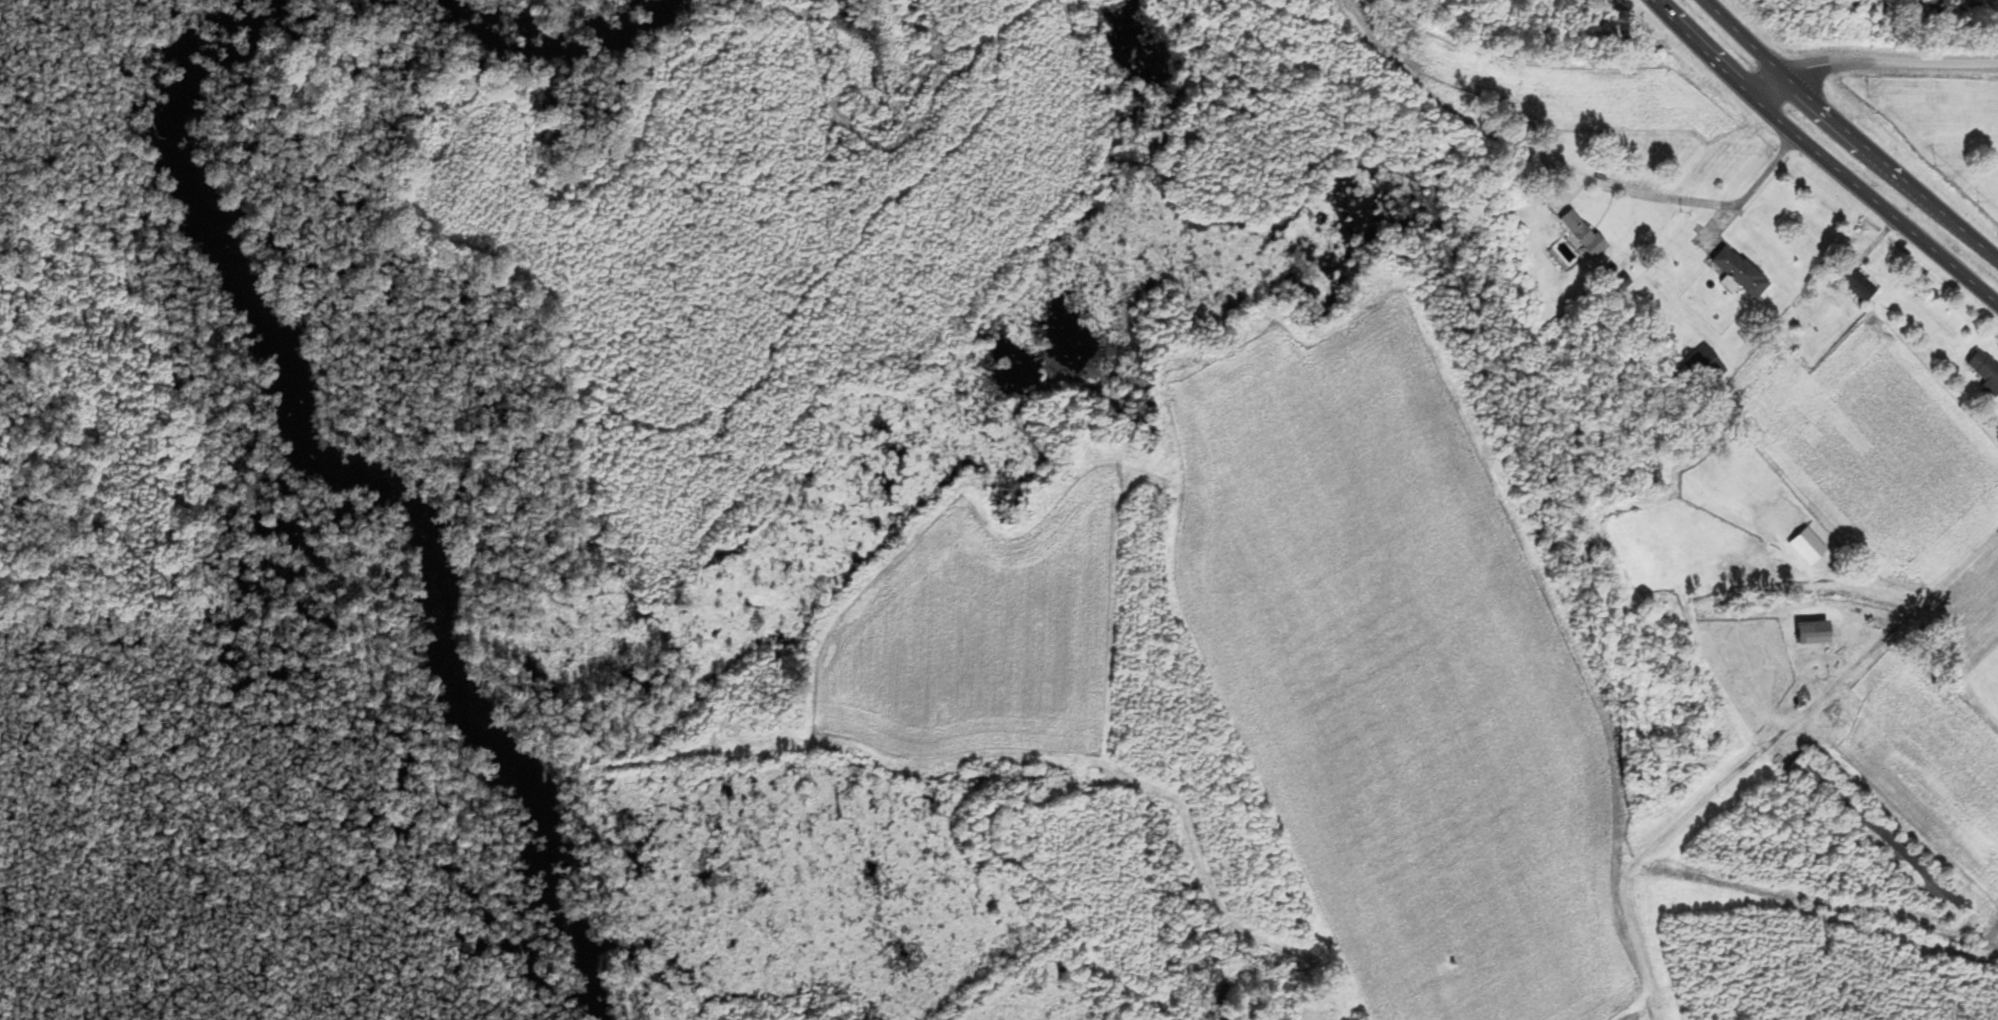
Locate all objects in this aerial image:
road: (1872, 66)
road: (1850, 132)
road: (1820, 158)
road: (1514, 179)
building: (1583, 233)
building: (1740, 273)
building: (1859, 285)
building: (274, 360)
building: (1706, 365)
building: (1986, 371)
building: (1809, 548)
building: (1817, 633)
road: (1750, 751)
building: (1823, 786)

